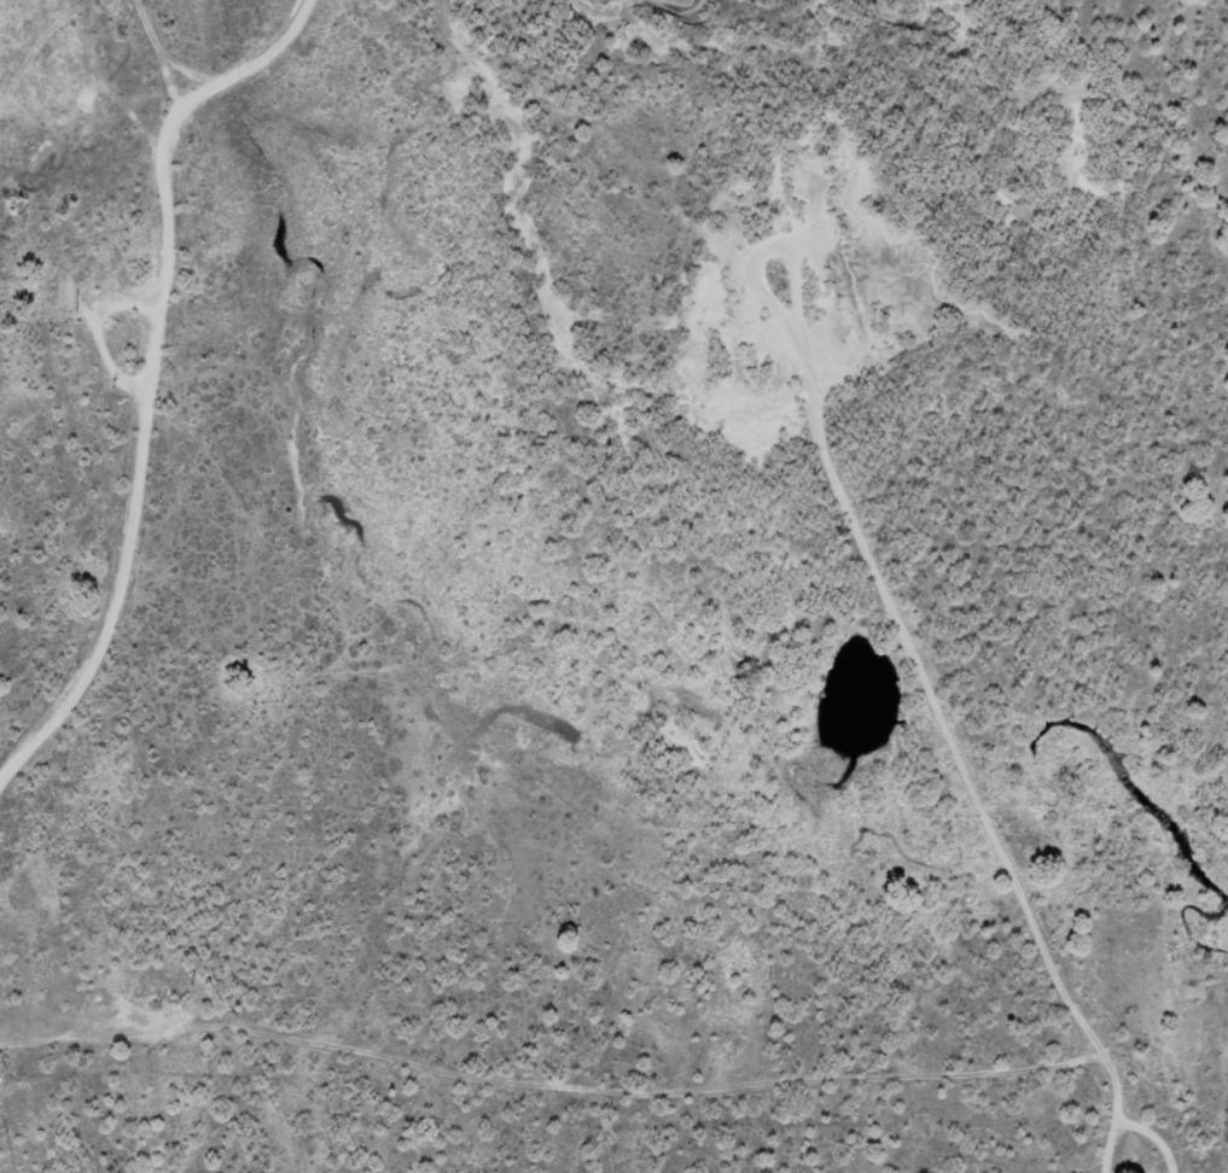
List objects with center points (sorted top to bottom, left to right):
road: (197, 447)

